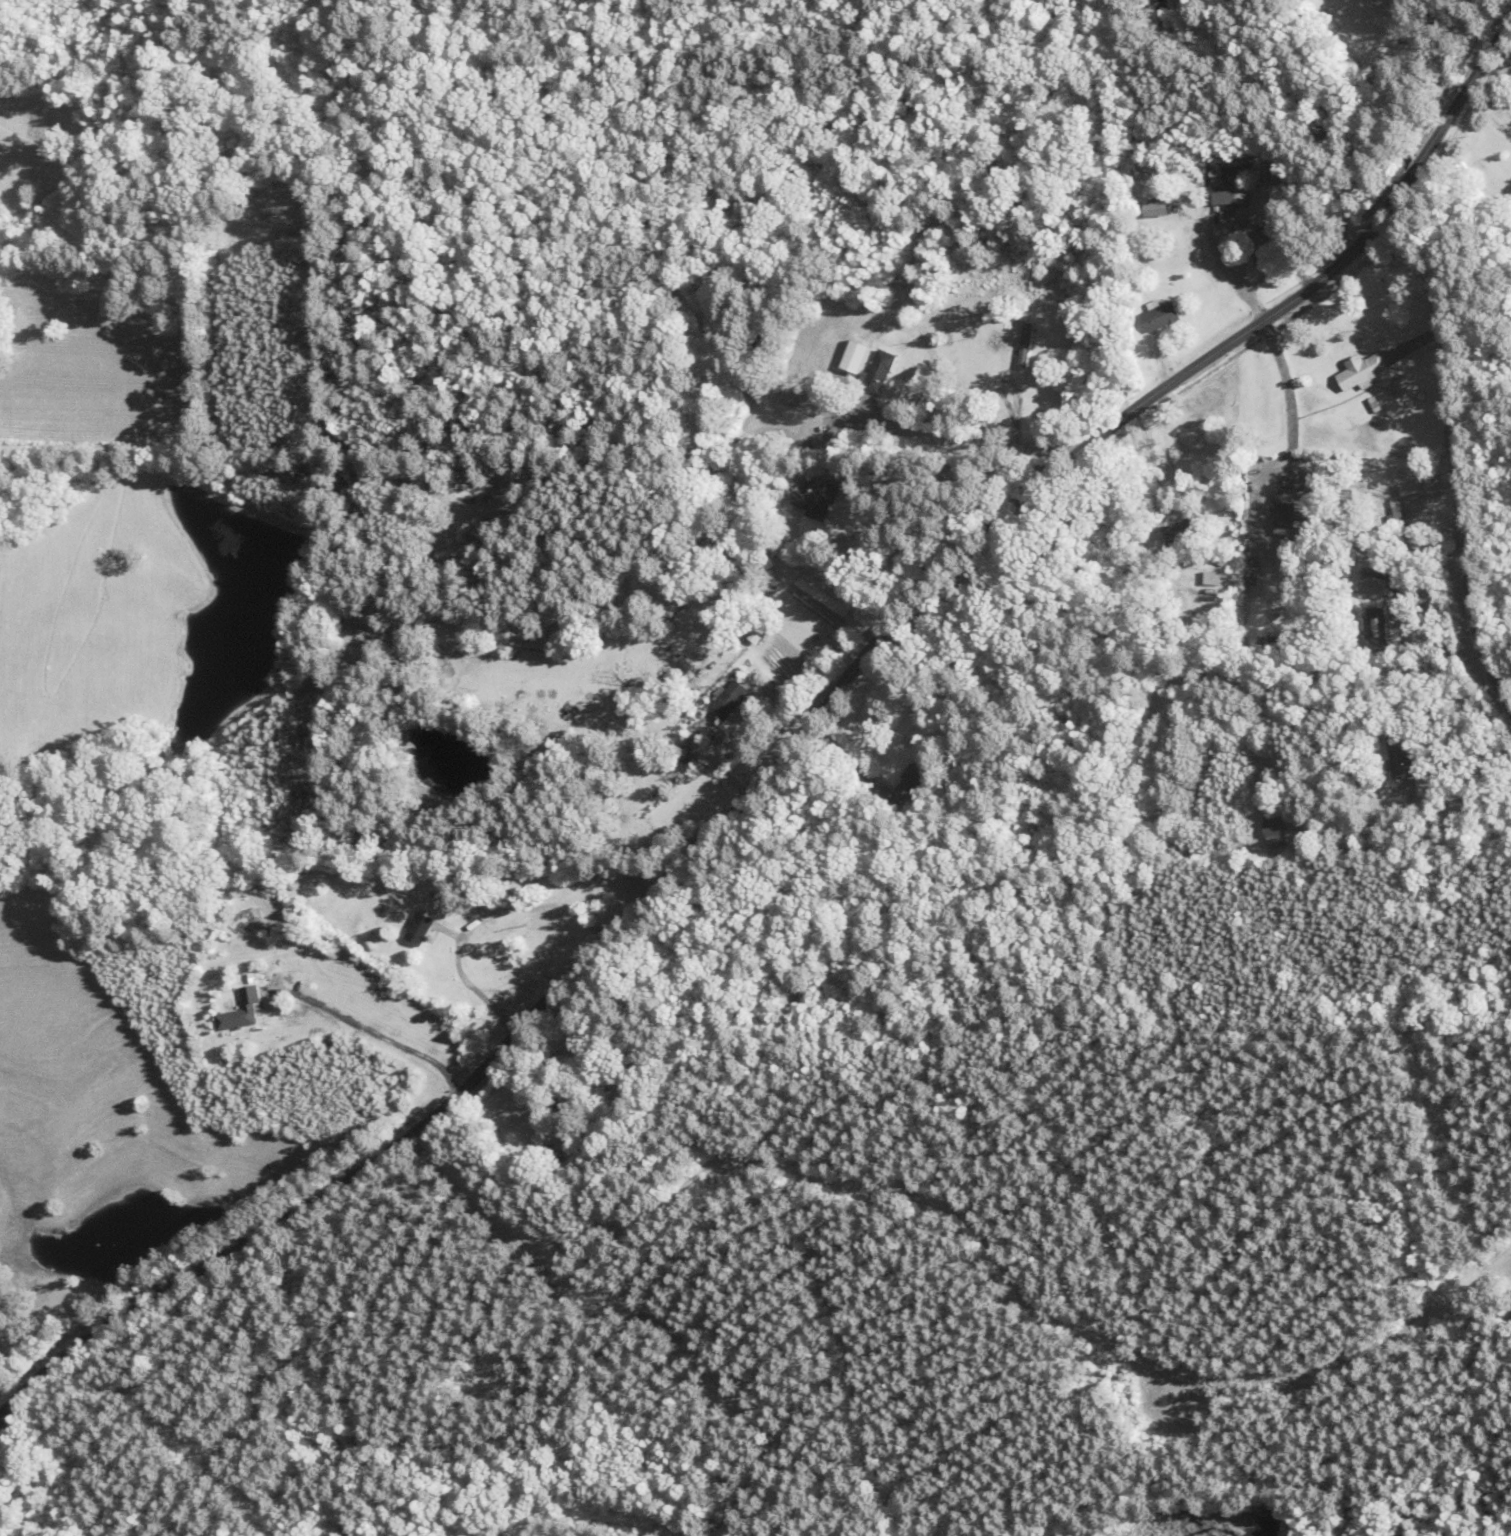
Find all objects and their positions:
building: (1230, 187)
building: (1156, 210)
building: (1265, 248)
building: (1159, 317)
building: (1025, 346)
building: (878, 372)
building: (1364, 372)
road: (1454, 458)
building: (817, 498)
building: (1289, 512)
building: (1187, 530)
building: (1373, 586)
building: (1378, 628)
building: (729, 699)
road: (784, 750)
building: (1401, 756)
building: (915, 776)
building: (1276, 830)
building: (419, 929)
building: (241, 1011)
building: (572, 1099)
building: (556, 1148)

